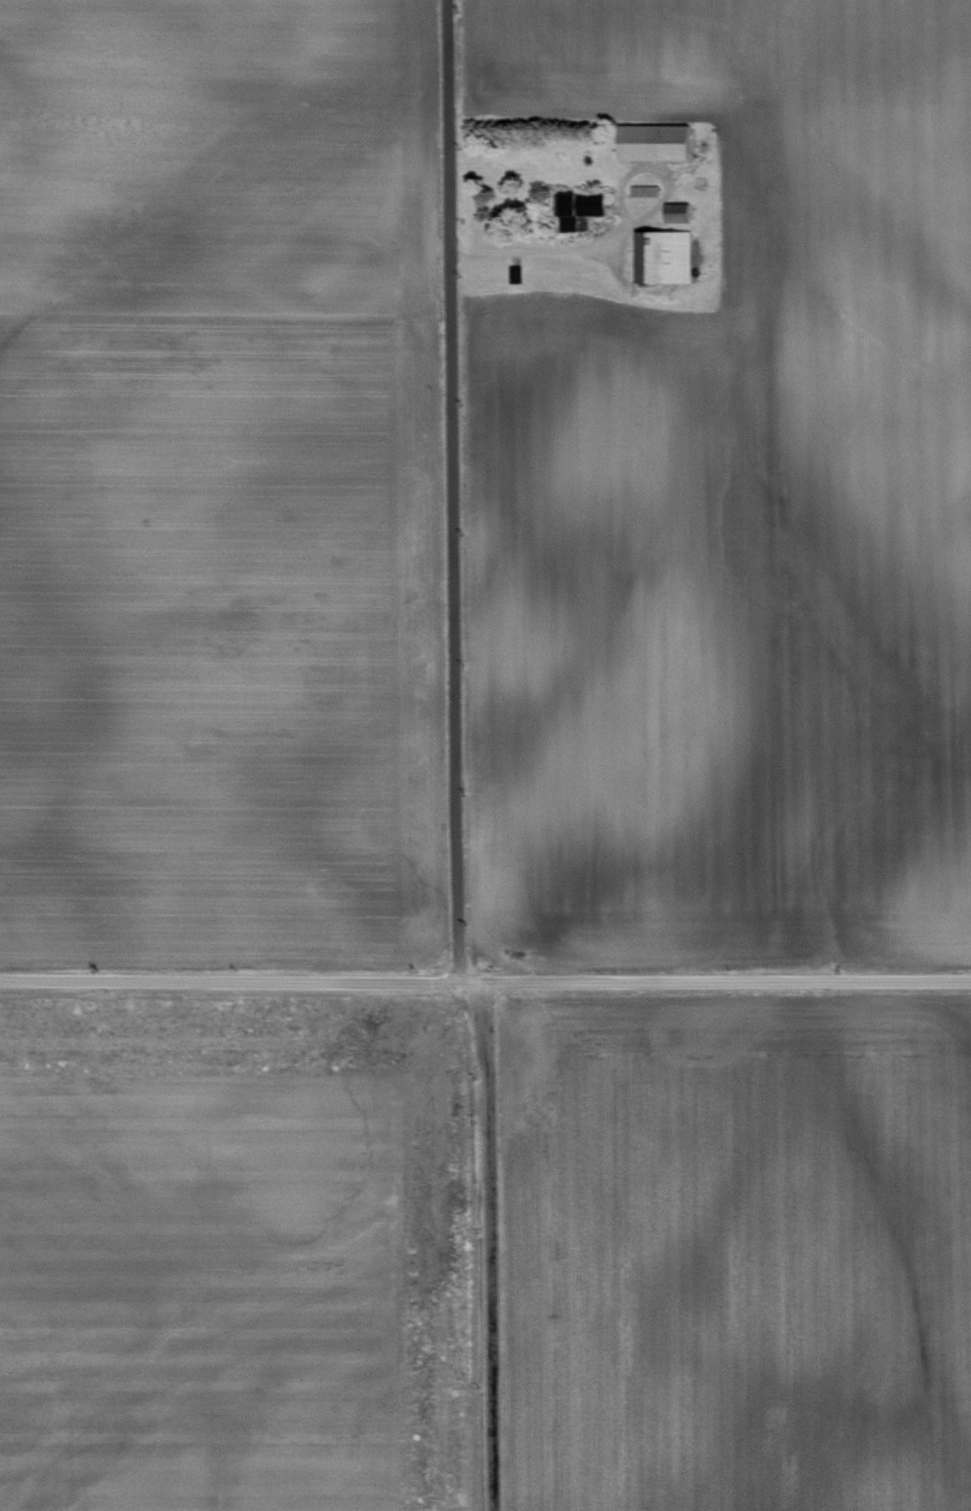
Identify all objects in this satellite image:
building: (653, 140)
building: (646, 189)
building: (577, 207)
building: (676, 211)
road: (623, 233)
road: (453, 492)
road: (485, 985)
road: (489, 1246)

